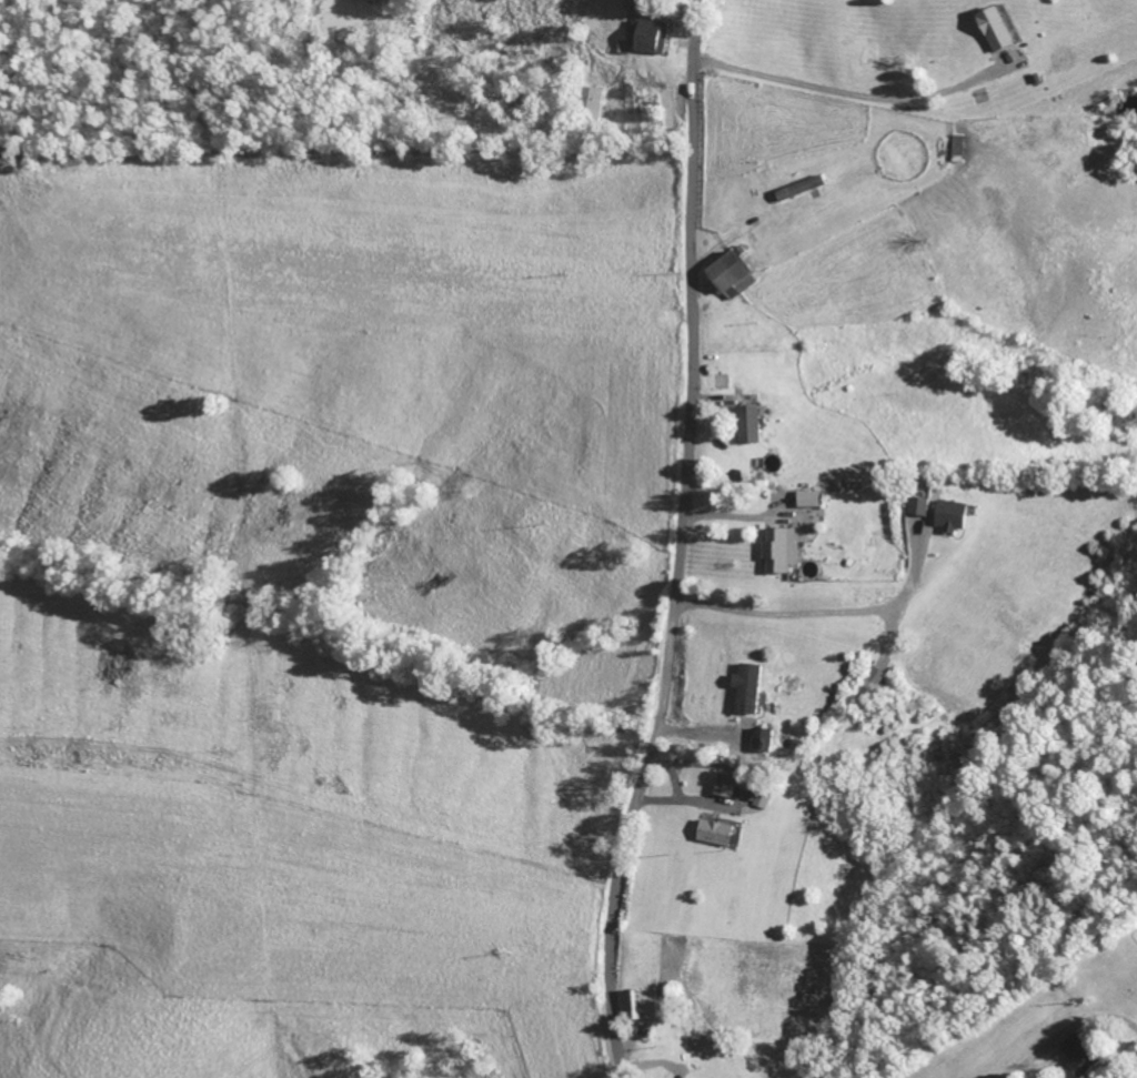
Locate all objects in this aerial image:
building: (998, 29)
building: (650, 36)
road: (843, 83)
building: (736, 274)
building: (753, 424)
building: (922, 506)
building: (956, 516)
road: (680, 542)
building: (784, 548)
road: (812, 613)
building: (748, 688)
building: (764, 741)
building: (727, 785)
building: (718, 833)
road: (731, 945)
building: (643, 1004)
road: (1028, 1057)
building: (1084, 1057)

